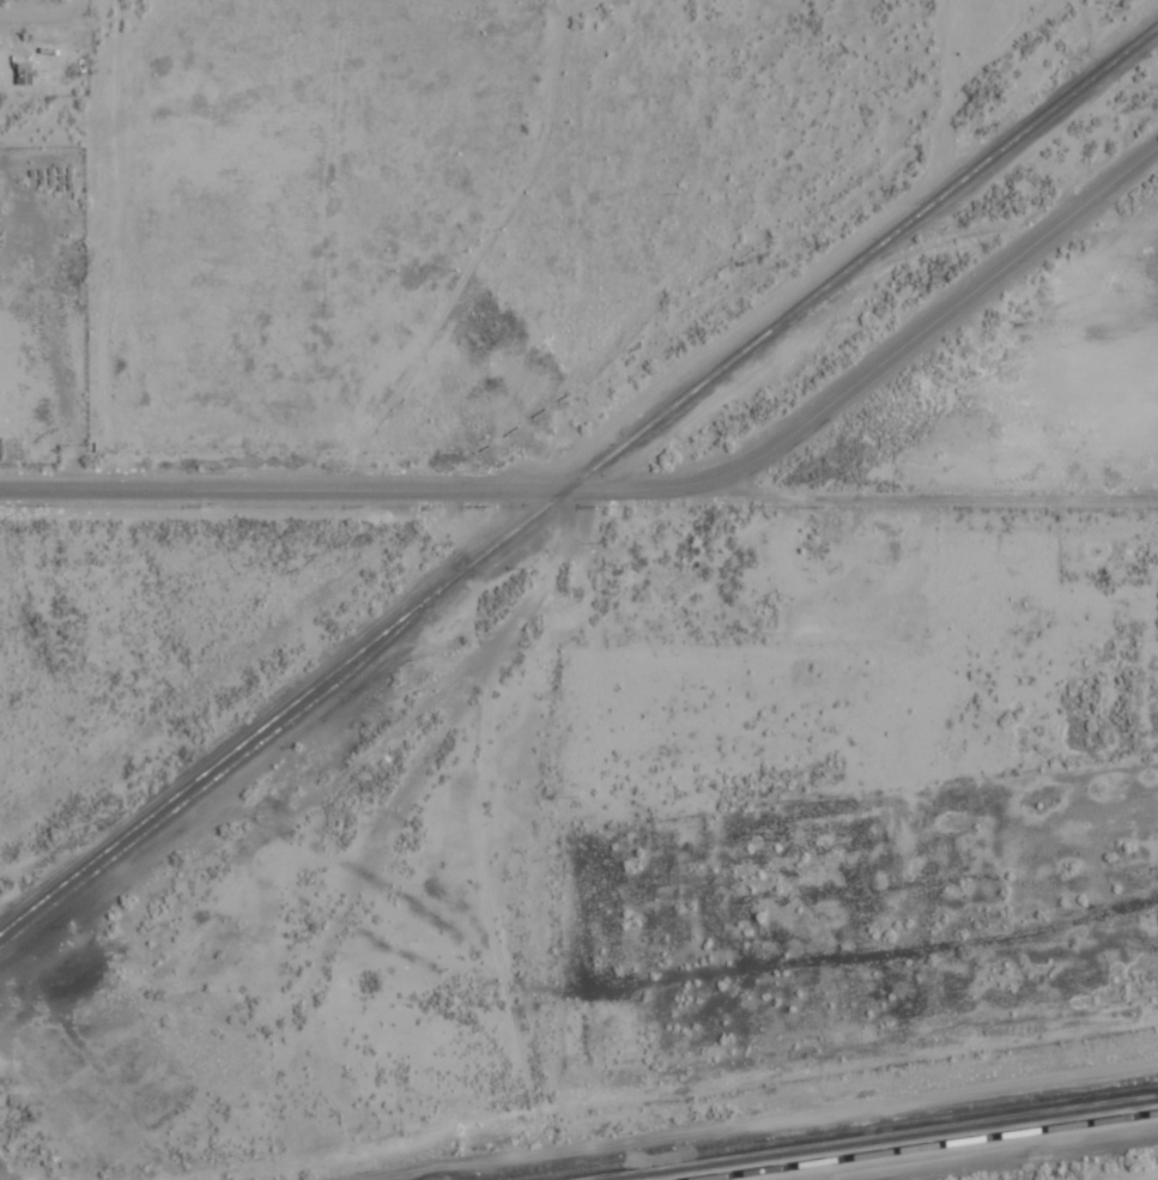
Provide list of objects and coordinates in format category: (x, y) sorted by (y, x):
building: (25, 73)
road: (920, 357)
railway: (578, 478)
road: (578, 490)
railway: (224, 769)
road: (445, 773)
railway: (835, 1130)
railway: (877, 1138)
railway: (922, 1145)
railway: (960, 1150)
road: (1144, 1178)

